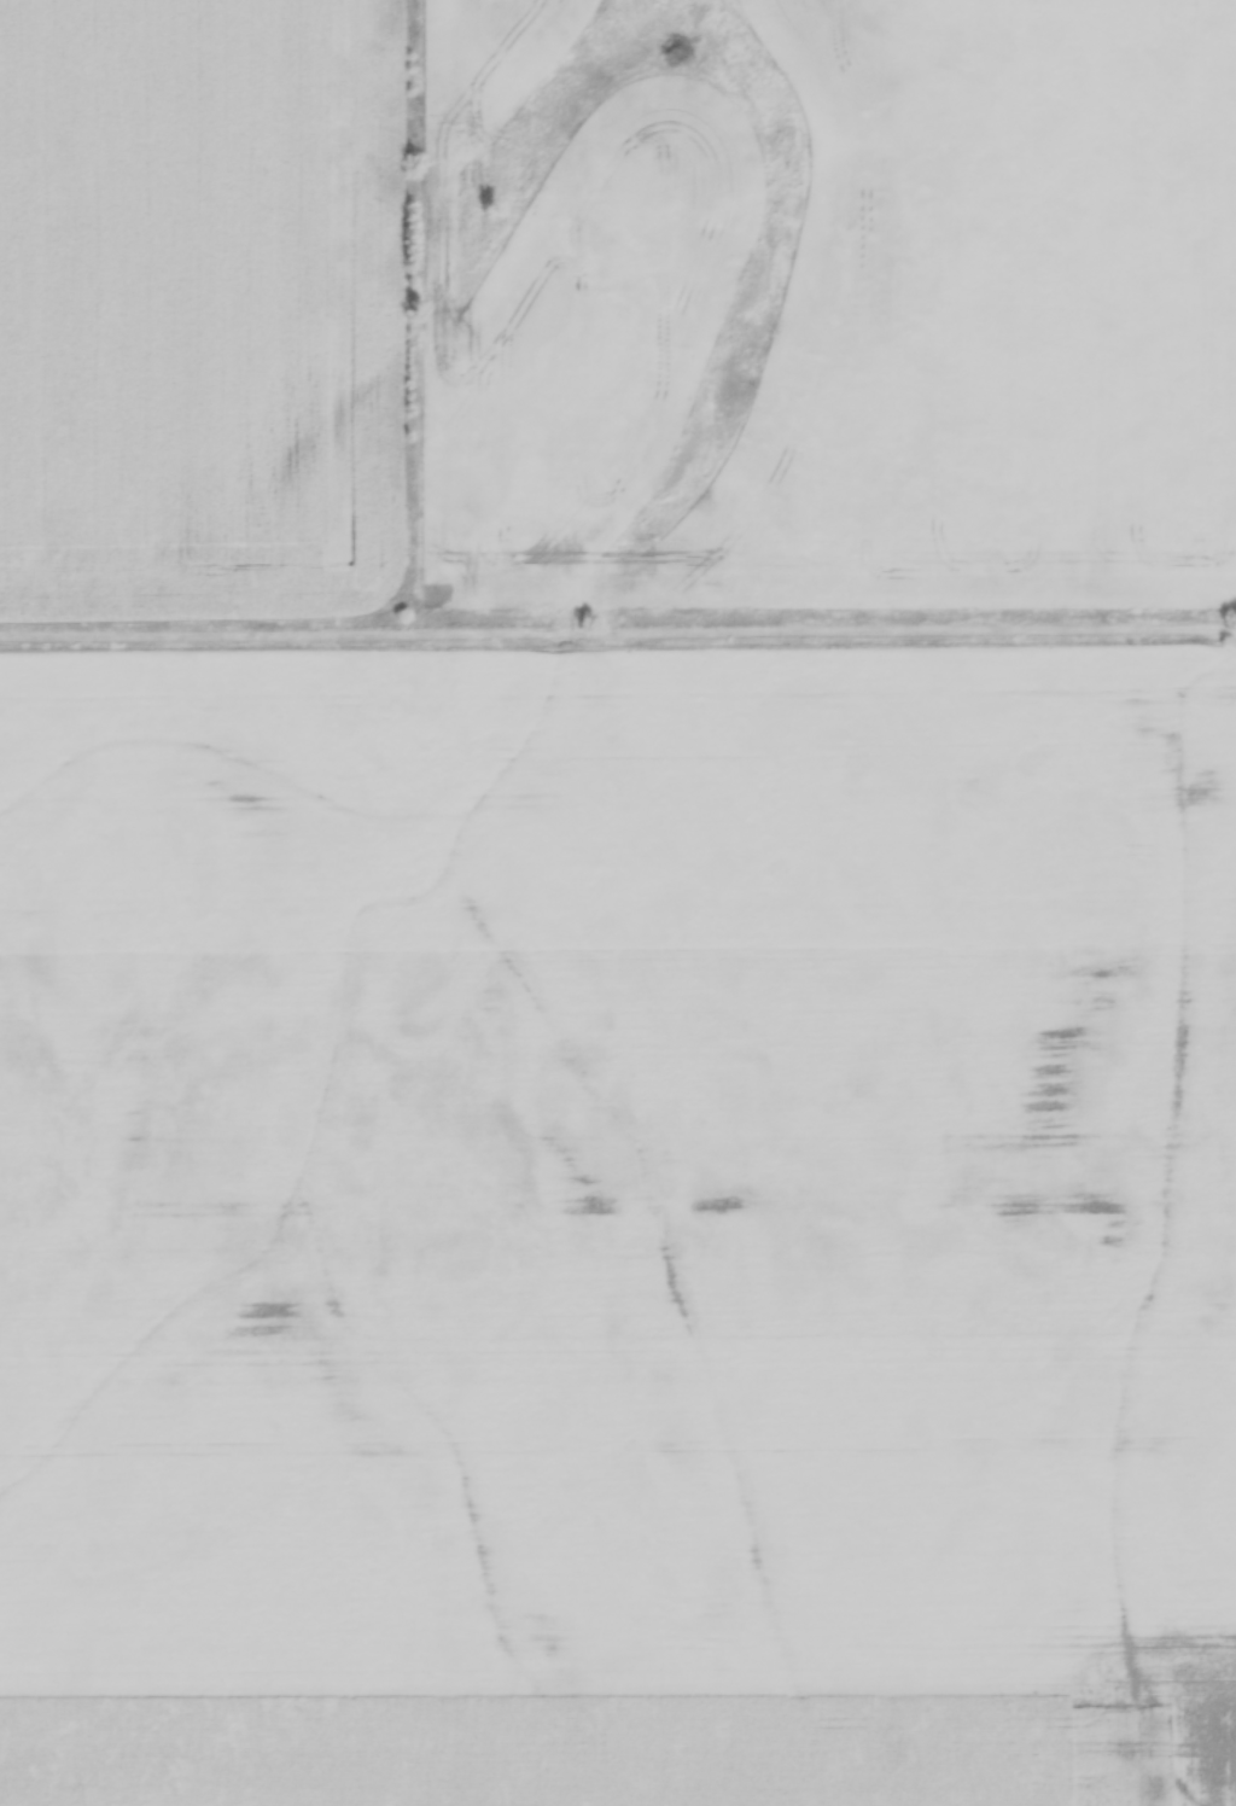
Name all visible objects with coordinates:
road: (618, 636)

